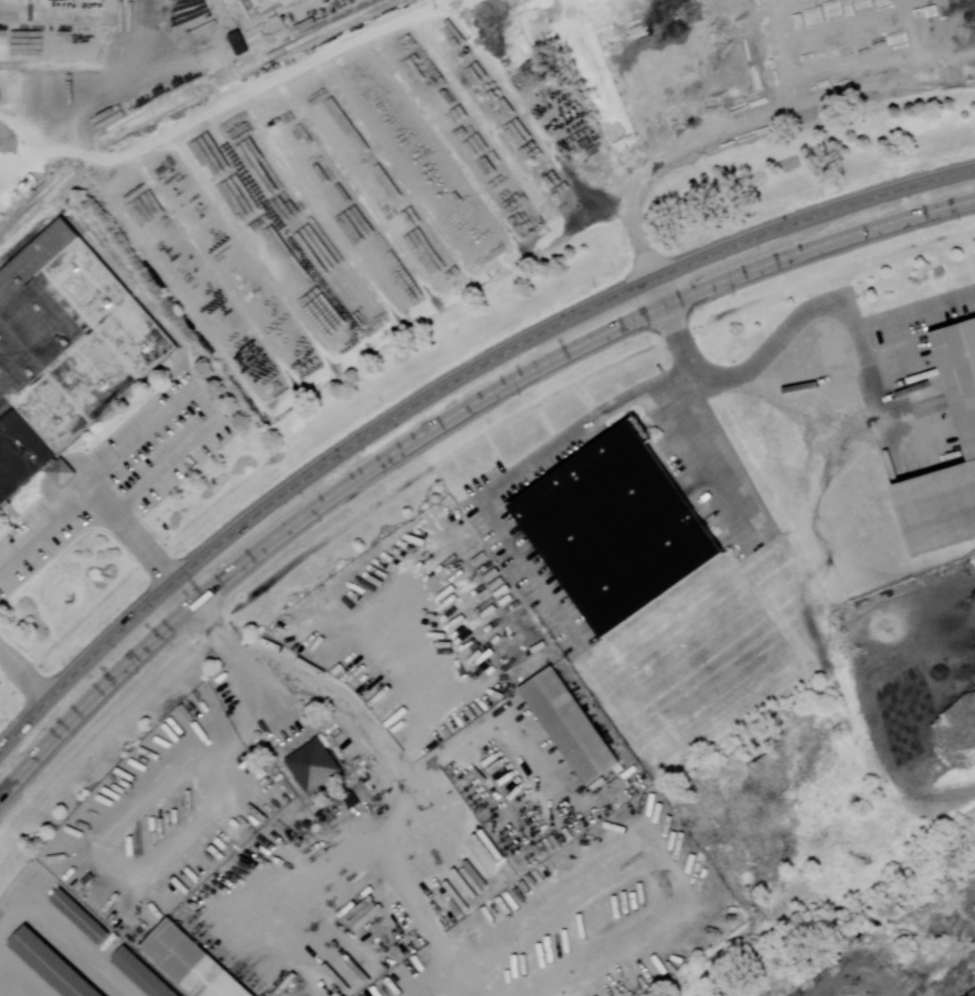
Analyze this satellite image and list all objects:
road: (91, 98)
railway: (179, 98)
road: (6, 175)
road: (653, 268)
building: (62, 350)
road: (443, 389)
road: (205, 403)
road: (441, 422)
road: (706, 454)
road: (514, 472)
building: (937, 505)
building: (616, 528)
road: (148, 560)
road: (22, 678)
building: (568, 725)
building: (314, 765)
building: (79, 914)
railway: (881, 930)
building: (191, 961)
building: (52, 963)
building: (144, 972)
railway: (969, 991)

